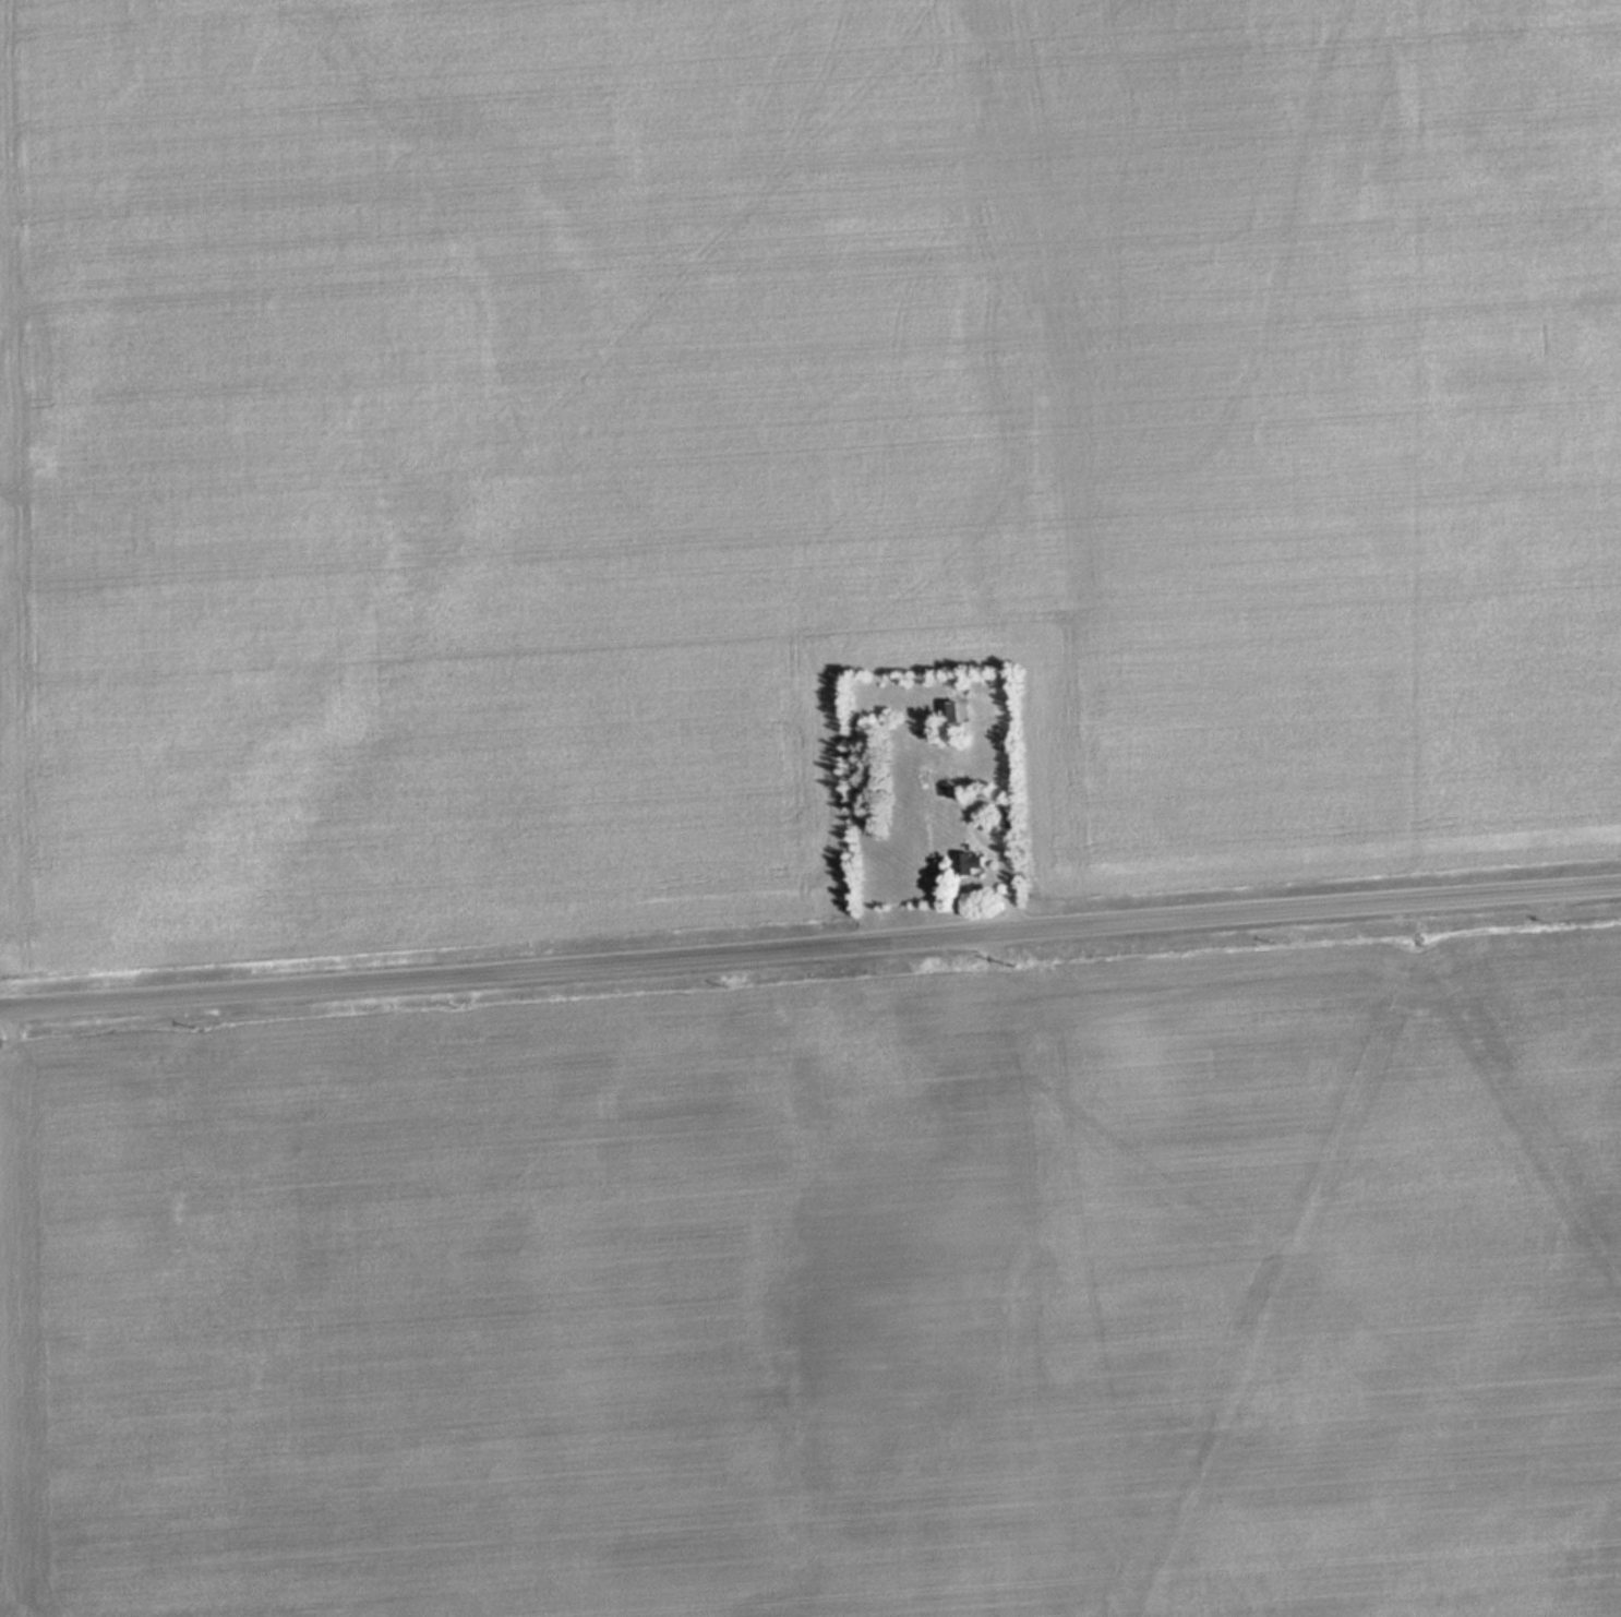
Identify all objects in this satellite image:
building: (946, 712)
building: (969, 864)
road: (810, 947)

